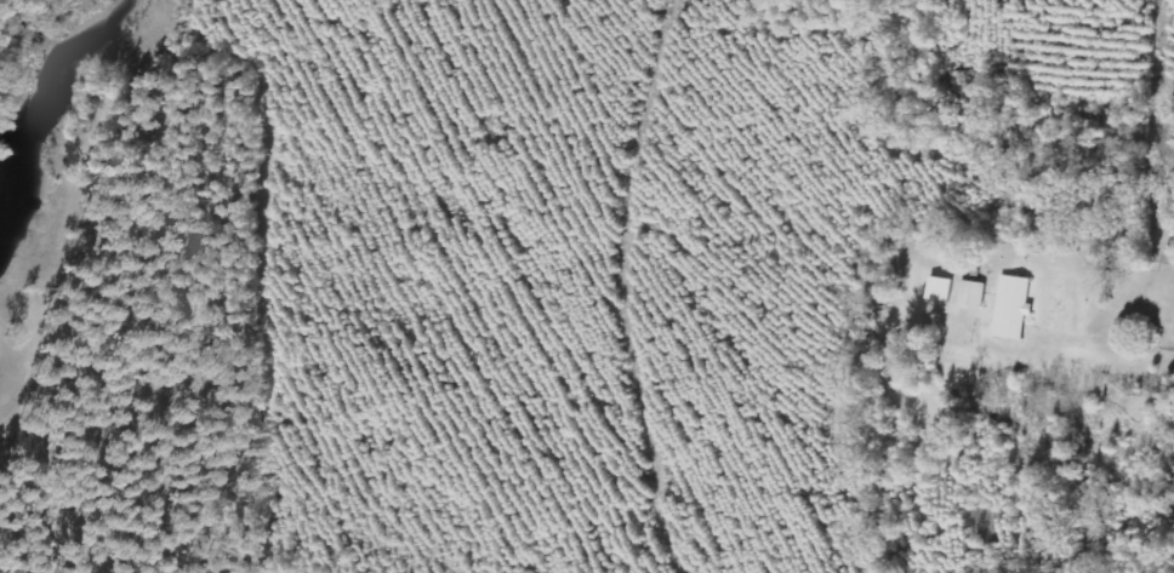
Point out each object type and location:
building: (939, 290)
building: (971, 294)
building: (1011, 308)

